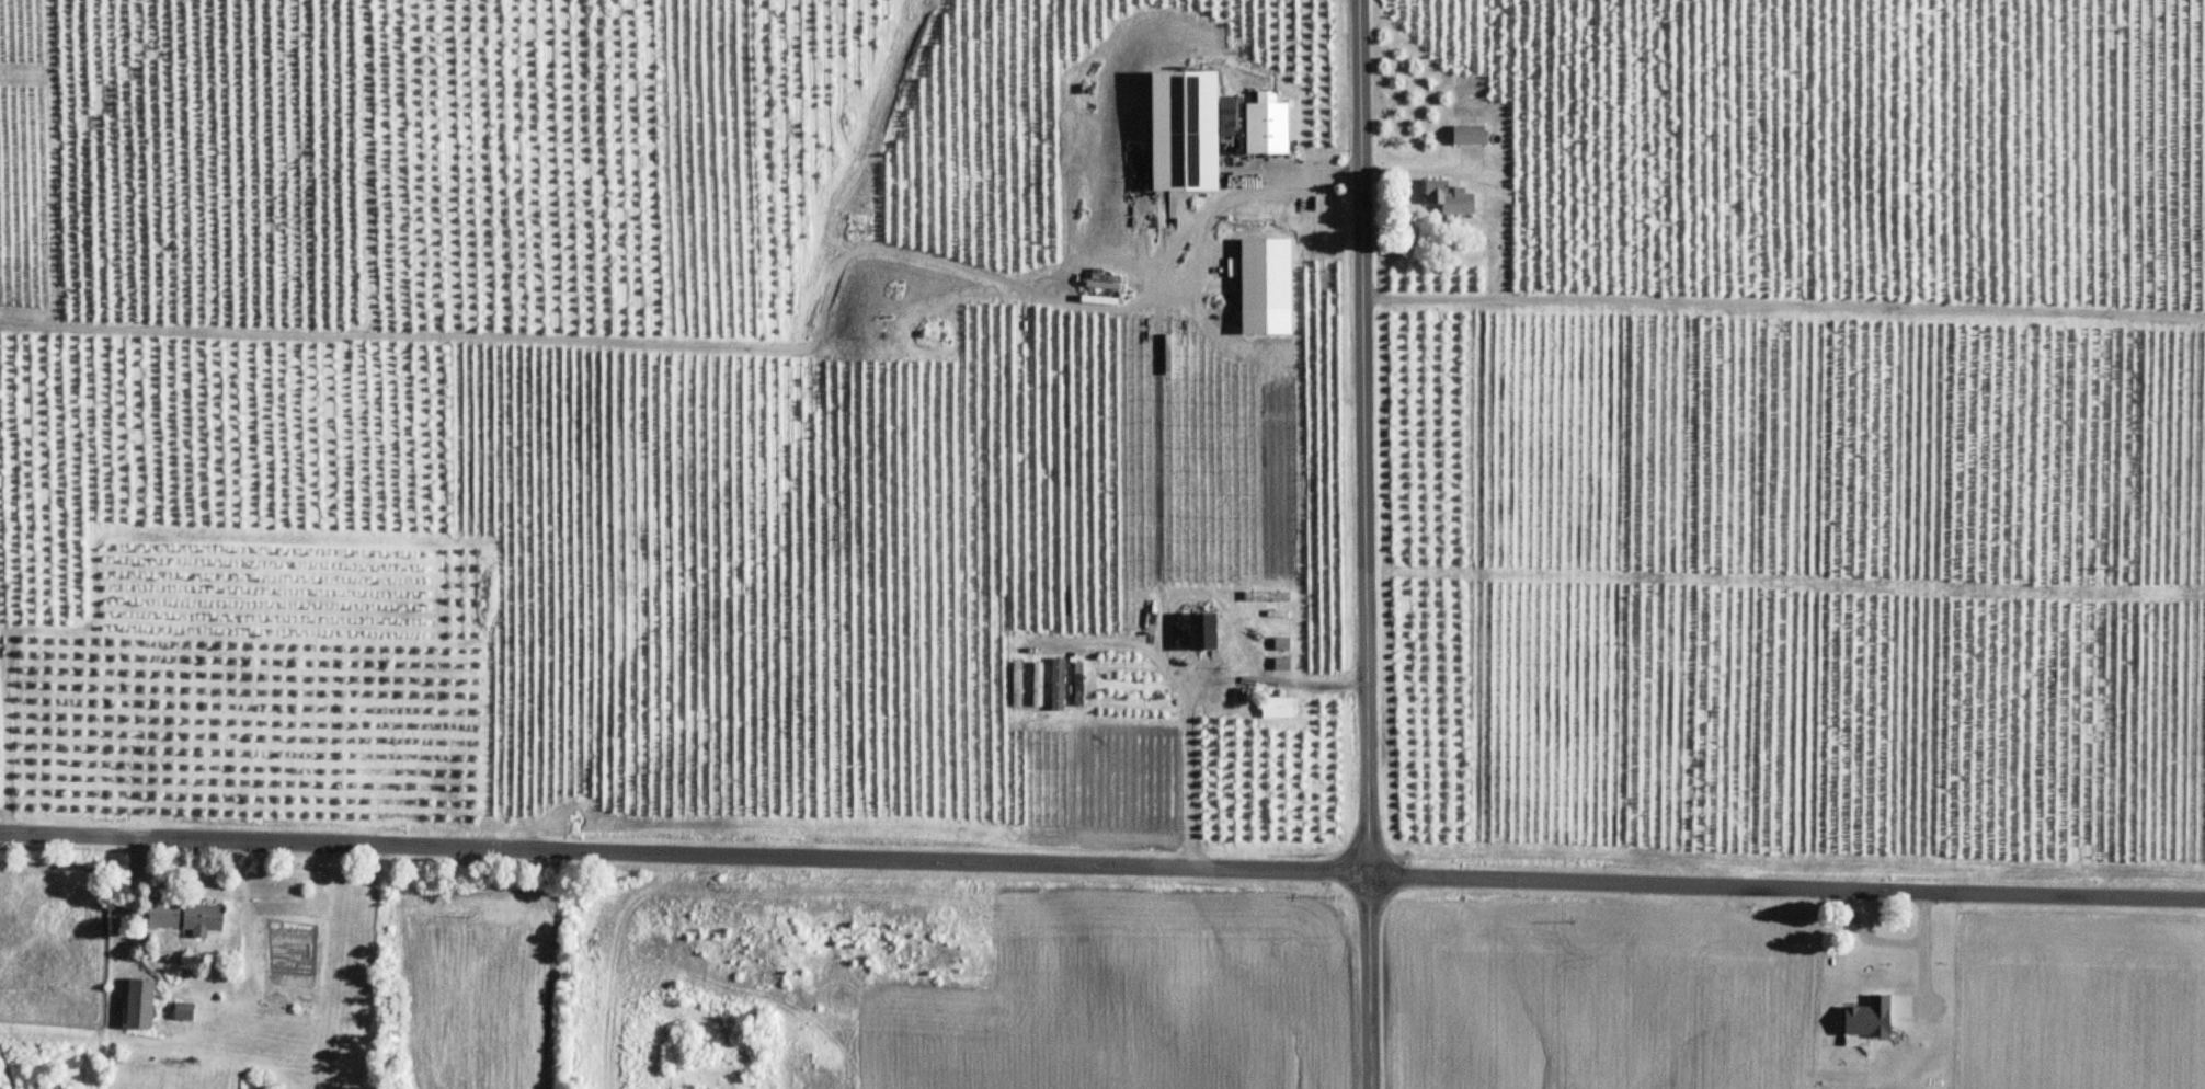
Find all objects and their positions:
building: (1268, 127)
building: (1186, 133)
building: (1470, 136)
road: (1420, 172)
building: (1451, 198)
road: (1201, 221)
building: (1267, 277)
road: (1783, 303)
road: (1364, 543)
building: (1268, 597)
building: (1204, 633)
building: (1282, 645)
building: (1282, 665)
building: (1039, 686)
building: (1059, 686)
building: (1079, 686)
building: (1018, 687)
road: (1188, 687)
building: (1279, 709)
road: (1102, 866)
building: (187, 918)
crop: (1599, 996)
crop: (1131, 998)
crop: (2070, 1000)
building: (141, 1005)
building: (184, 1012)

